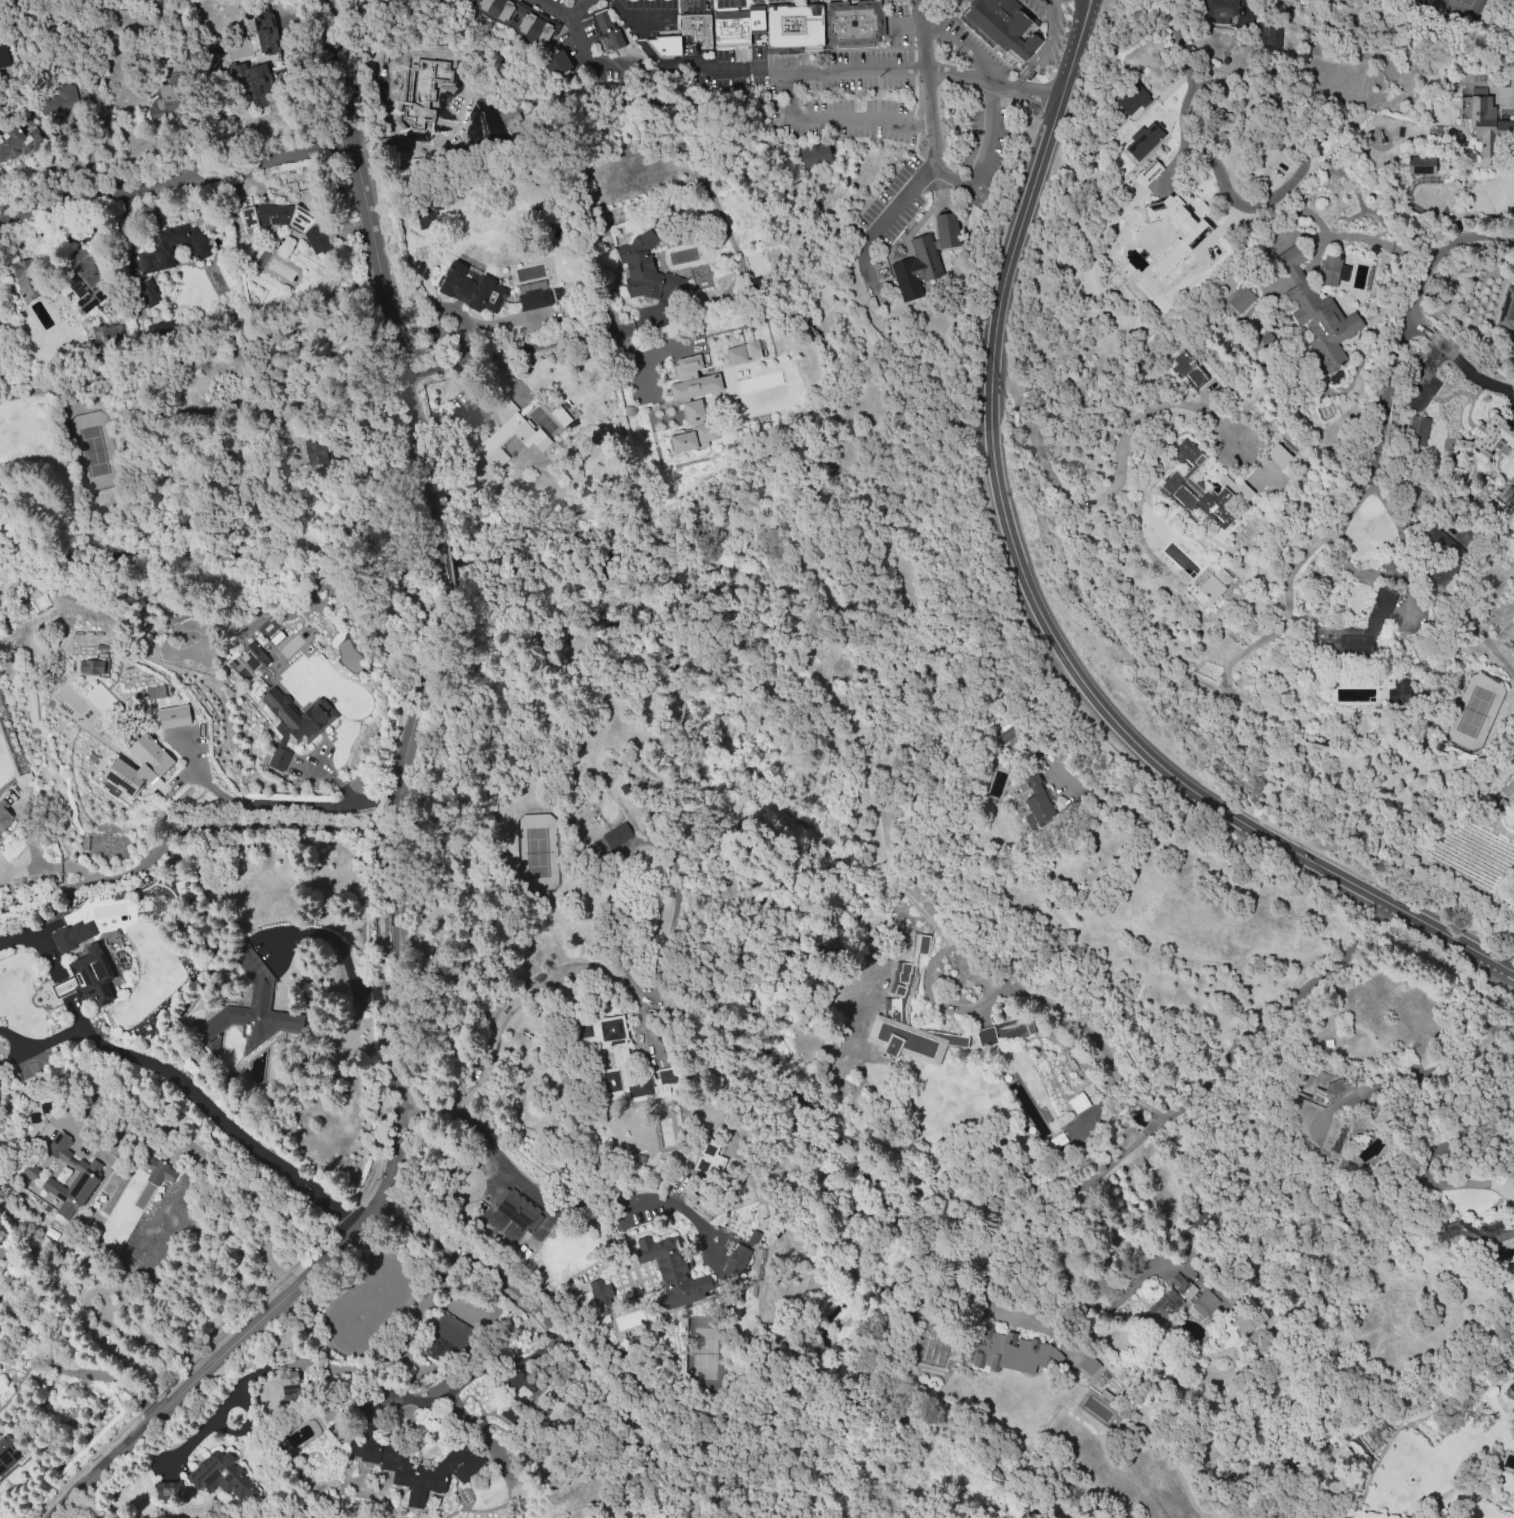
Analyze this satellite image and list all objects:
building: (468, 1)
building: (475, 2)
building: (484, 4)
road: (1244, 6)
road: (1083, 7)
road: (1086, 7)
road: (1089, 7)
building: (495, 8)
road: (577, 10)
building: (1219, 10)
building: (507, 11)
building: (518, 15)
road: (638, 18)
building: (527, 21)
building: (758, 22)
building: (538, 24)
building: (854, 24)
building: (797, 27)
building: (1005, 27)
building: (732, 29)
building: (698, 30)
building: (608, 32)
building: (268, 33)
building: (1273, 35)
road: (645, 44)
building: (667, 46)
road: (1043, 47)
building: (211, 50)
building: (4, 62)
building: (558, 66)
building: (436, 70)
road: (715, 72)
building: (254, 76)
road: (929, 82)
road: (993, 82)
building: (177, 83)
road: (1507, 91)
parking lot: (846, 97)
building: (1131, 97)
building: (61, 99)
building: (167, 100)
building: (422, 102)
building: (516, 111)
building: (1483, 112)
road: (840, 118)
building: (1144, 139)
road: (1206, 144)
building: (18, 146)
building: (816, 155)
building: (1429, 166)
building: (1148, 172)
road: (182, 178)
road: (962, 186)
flagpole: (956, 208)
building: (427, 215)
building: (287, 223)
building: (947, 229)
building: (1197, 230)
road: (1371, 240)
building: (200, 249)
building: (897, 249)
road: (1444, 250)
building: (647, 268)
building: (1126, 268)
building: (915, 270)
building: (1345, 270)
building: (1331, 271)
building: (79, 277)
building: (24, 278)
building: (465, 287)
building: (147, 292)
building: (535, 299)
building: (1241, 299)
building: (1316, 311)
building: (1507, 311)
building: (0, 322)
building: (106, 335)
road: (518, 349)
building: (741, 352)
road: (194, 354)
road: (633, 359)
road: (1461, 362)
building: (686, 366)
building: (1188, 372)
building: (695, 386)
building: (756, 391)
road: (1389, 407)
building: (675, 412)
building: (693, 428)
building: (1418, 431)
building: (512, 435)
building: (1484, 440)
building: (317, 452)
building: (1278, 456)
road: (1111, 490)
building: (1508, 494)
building: (1207, 497)
road: (1386, 505)
building: (1442, 555)
building: (1215, 585)
road: (1034, 606)
building: (1371, 623)
building: (254, 657)
building: (72, 666)
building: (93, 666)
building: (154, 691)
building: (1398, 691)
building: (294, 722)
building: (179, 734)
building: (1012, 738)
building: (139, 765)
building: (1020, 783)
building: (1507, 797)
building: (1039, 801)
road: (275, 803)
building: (4, 817)
road: (401, 820)
road: (191, 831)
building: (616, 834)
building: (103, 844)
building: (85, 845)
road: (50, 865)
building: (158, 882)
building: (71, 936)
road: (19, 938)
road: (1508, 954)
building: (89, 977)
road: (540, 979)
road: (352, 985)
building: (260, 993)
road: (1041, 1000)
building: (896, 1006)
building: (1117, 1030)
building: (1003, 1031)
road: (1240, 1041)
building: (618, 1052)
building: (1133, 1056)
road: (189, 1092)
building: (1328, 1112)
building: (63, 1149)
building: (709, 1158)
building: (30, 1171)
building: (158, 1171)
building: (71, 1193)
road: (542, 1198)
building: (517, 1208)
building: (1474, 1231)
building: (737, 1259)
building: (672, 1271)
building: (1180, 1291)
building: (601, 1292)
building: (118, 1298)
building: (1207, 1302)
building: (1261, 1316)
building: (1255, 1320)
building: (1243, 1325)
building: (450, 1329)
road: (558, 1333)
road: (139, 1334)
building: (1011, 1353)
building: (308, 1365)
building: (1089, 1365)
road: (68, 1368)
road: (473, 1370)
building: (289, 1378)
building: (518, 1382)
building: (1511, 1386)
building: (1106, 1397)
building: (366, 1407)
building: (512, 1416)
building: (335, 1435)
building: (376, 1452)
building: (8, 1453)
building: (220, 1476)
building: (167, 1489)

